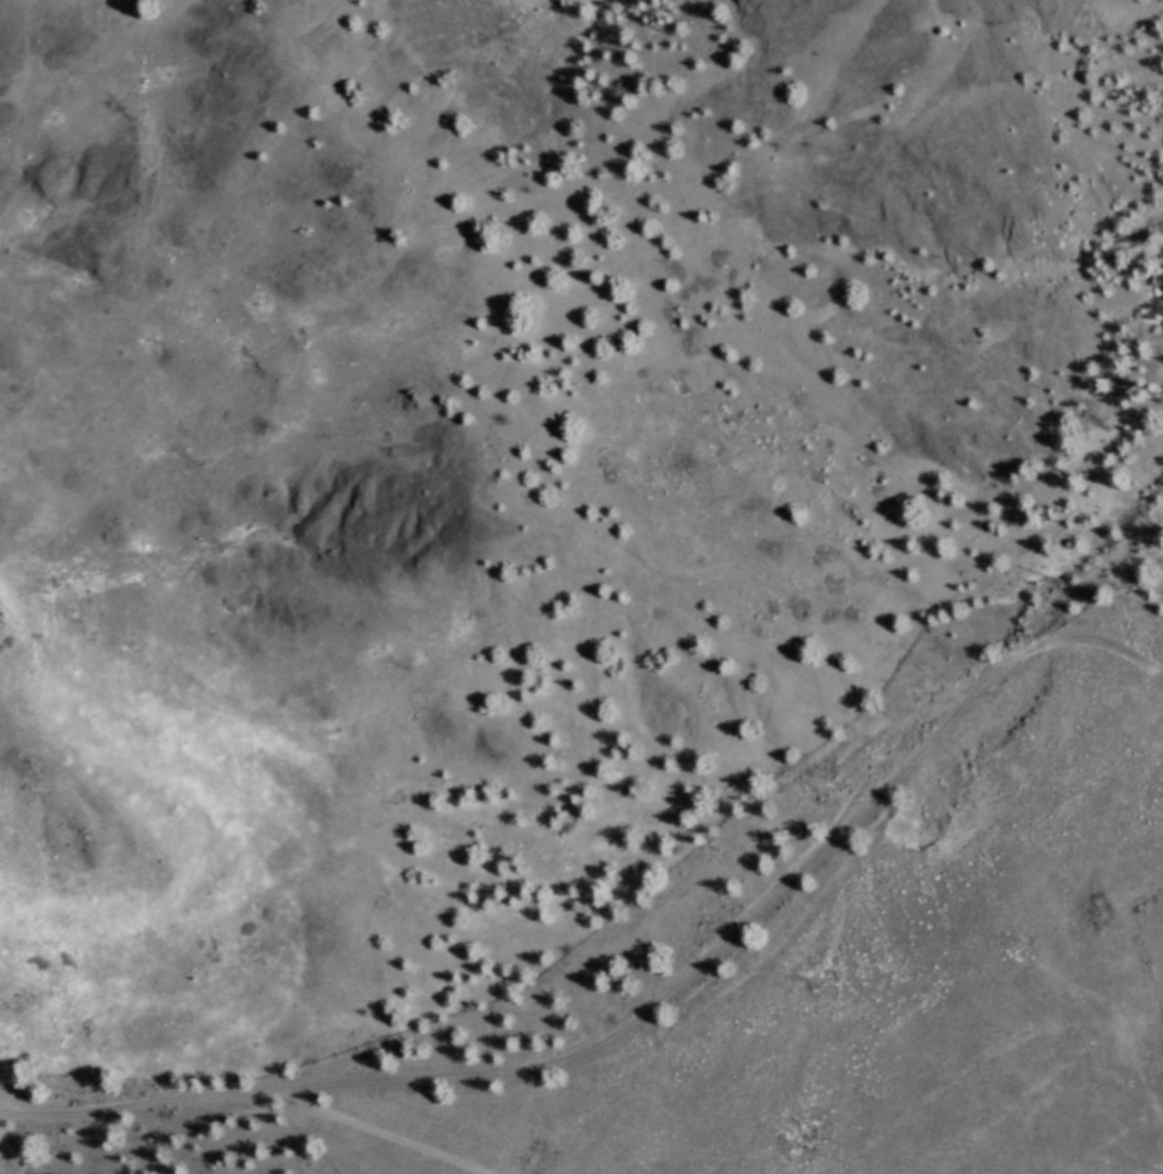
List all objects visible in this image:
road: (1161, 503)
road: (1161, 510)

